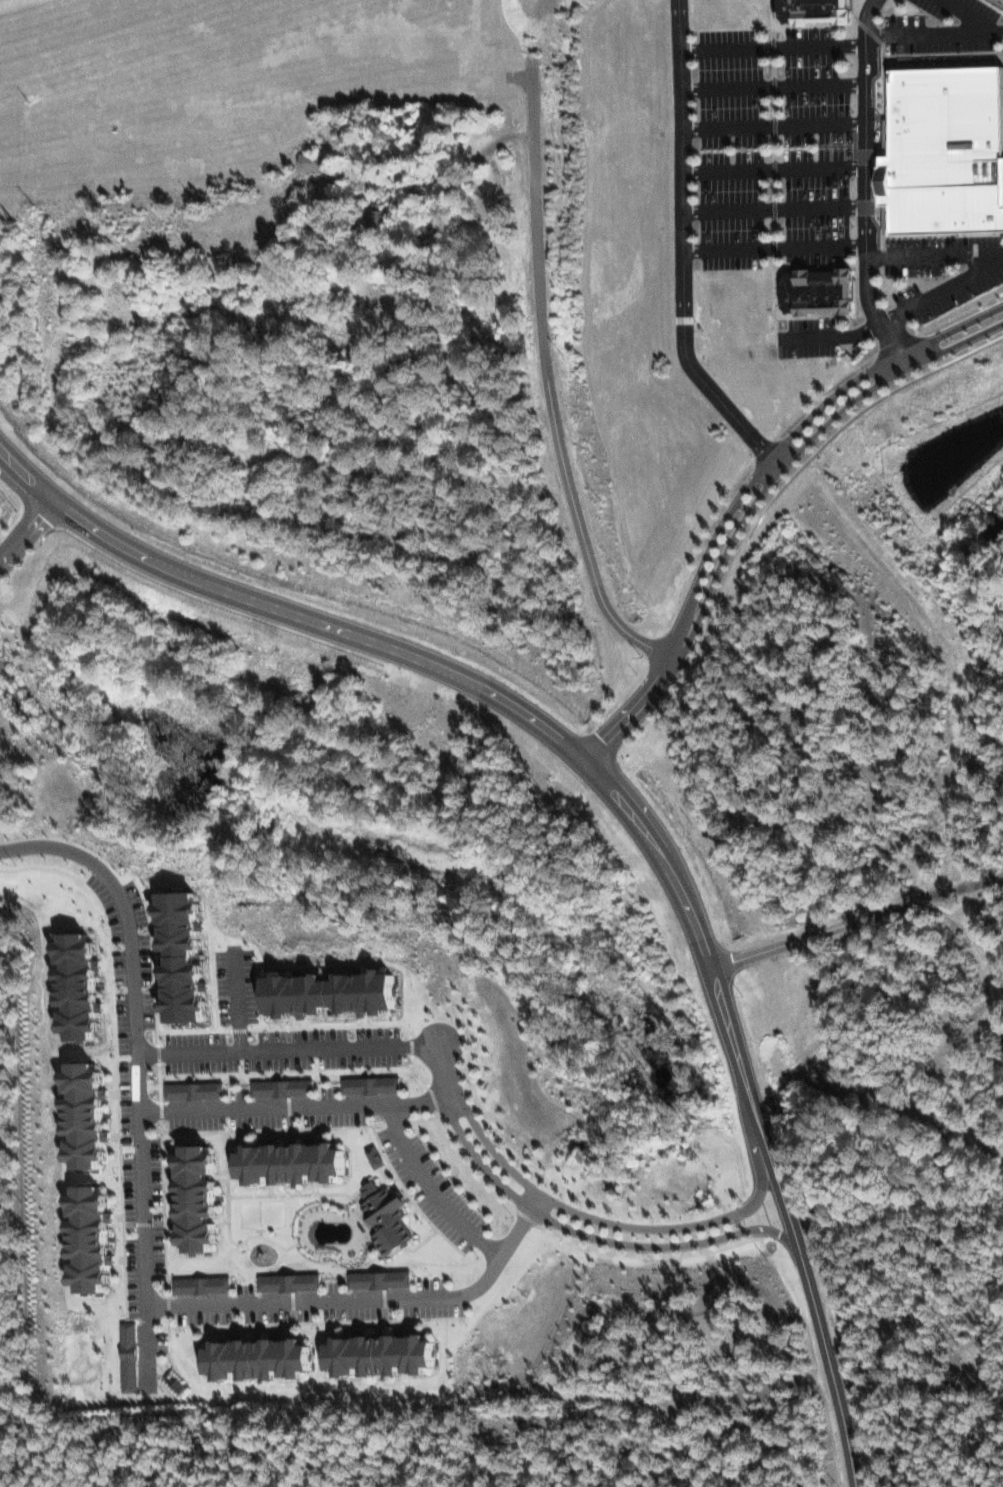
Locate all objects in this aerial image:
building: (789, 11)
building: (822, 11)
road: (969, 15)
road: (932, 31)
road: (769, 47)
road: (771, 88)
road: (772, 127)
building: (947, 148)
building: (315, 160)
road: (773, 169)
road: (866, 184)
road: (775, 210)
building: (382, 213)
road: (776, 247)
road: (682, 249)
road: (936, 253)
building: (824, 290)
road: (898, 315)
road: (909, 360)
road: (548, 383)
road: (831, 403)
road: (842, 418)
road: (781, 461)
road: (767, 473)
road: (56, 499)
road: (46, 508)
road: (17, 529)
road: (25, 546)
road: (473, 677)
road: (649, 689)
dam: (444, 847)
dam: (448, 877)
road: (858, 924)
building: (189, 955)
building: (83, 985)
building: (336, 992)
road: (236, 1001)
road: (287, 1046)
road: (442, 1066)
road: (136, 1068)
building: (372, 1084)
building: (284, 1087)
building: (195, 1090)
road: (293, 1106)
building: (87, 1115)
road: (756, 1120)
building: (375, 1156)
road: (475, 1156)
building: (295, 1163)
road: (431, 1188)
building: (201, 1198)
road: (534, 1200)
building: (388, 1218)
road: (613, 1222)
road: (745, 1230)
building: (90, 1239)
road: (608, 1239)
building: (381, 1279)
building: (291, 1282)
building: (202, 1284)
road: (357, 1297)
road: (812, 1307)
building: (385, 1355)
building: (128, 1356)
building: (263, 1359)

